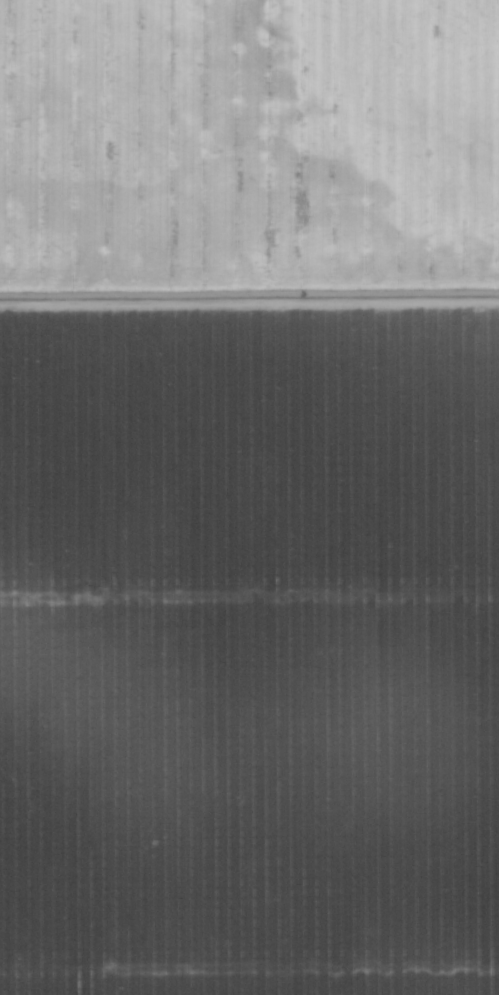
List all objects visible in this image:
crop: (249, 497)
building: (58, 618)
building: (478, 797)
building: (405, 801)
building: (336, 845)

